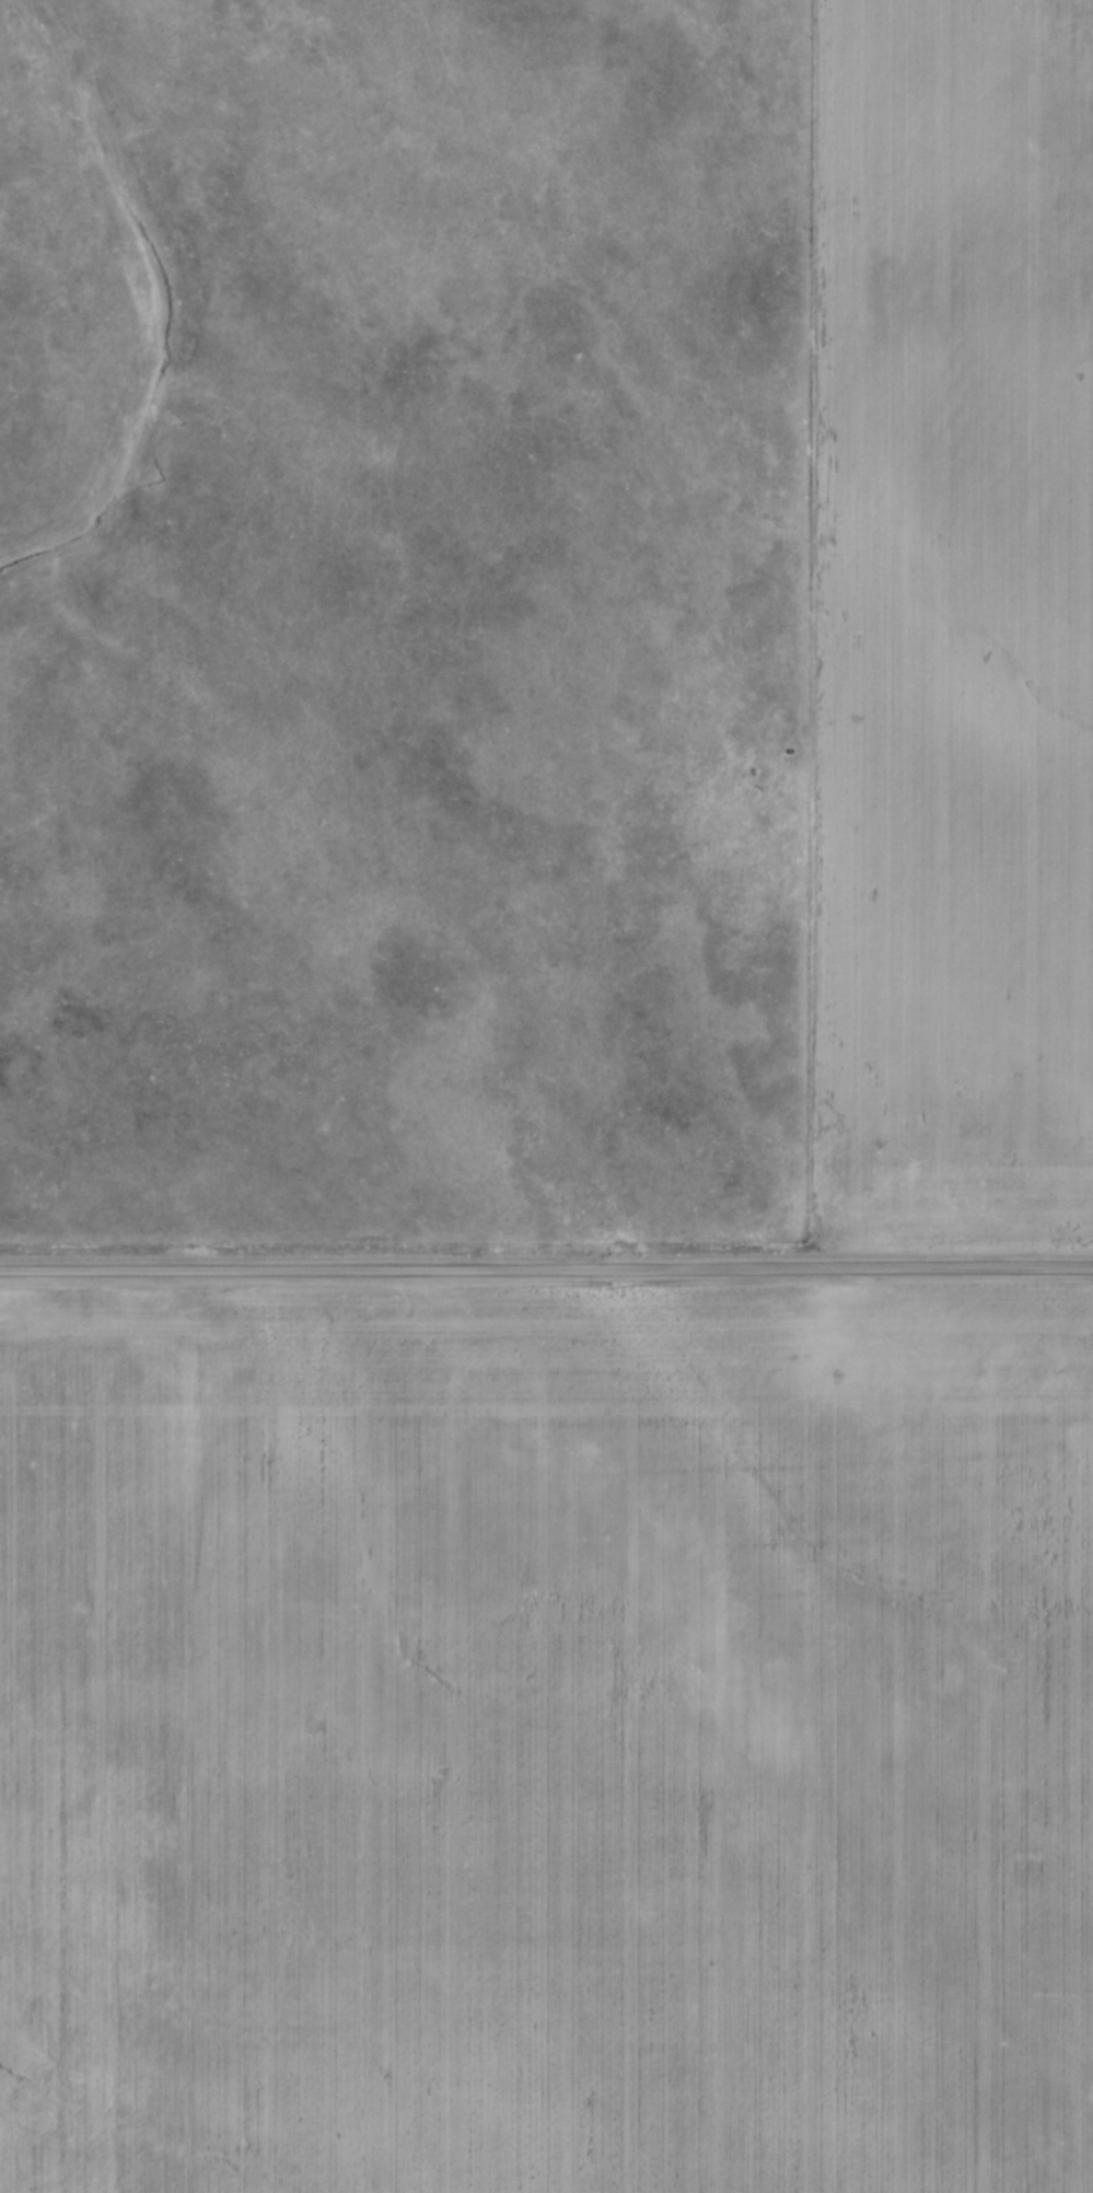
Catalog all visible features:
crop: (951, 620)
road: (546, 1276)
crop: (546, 1742)

